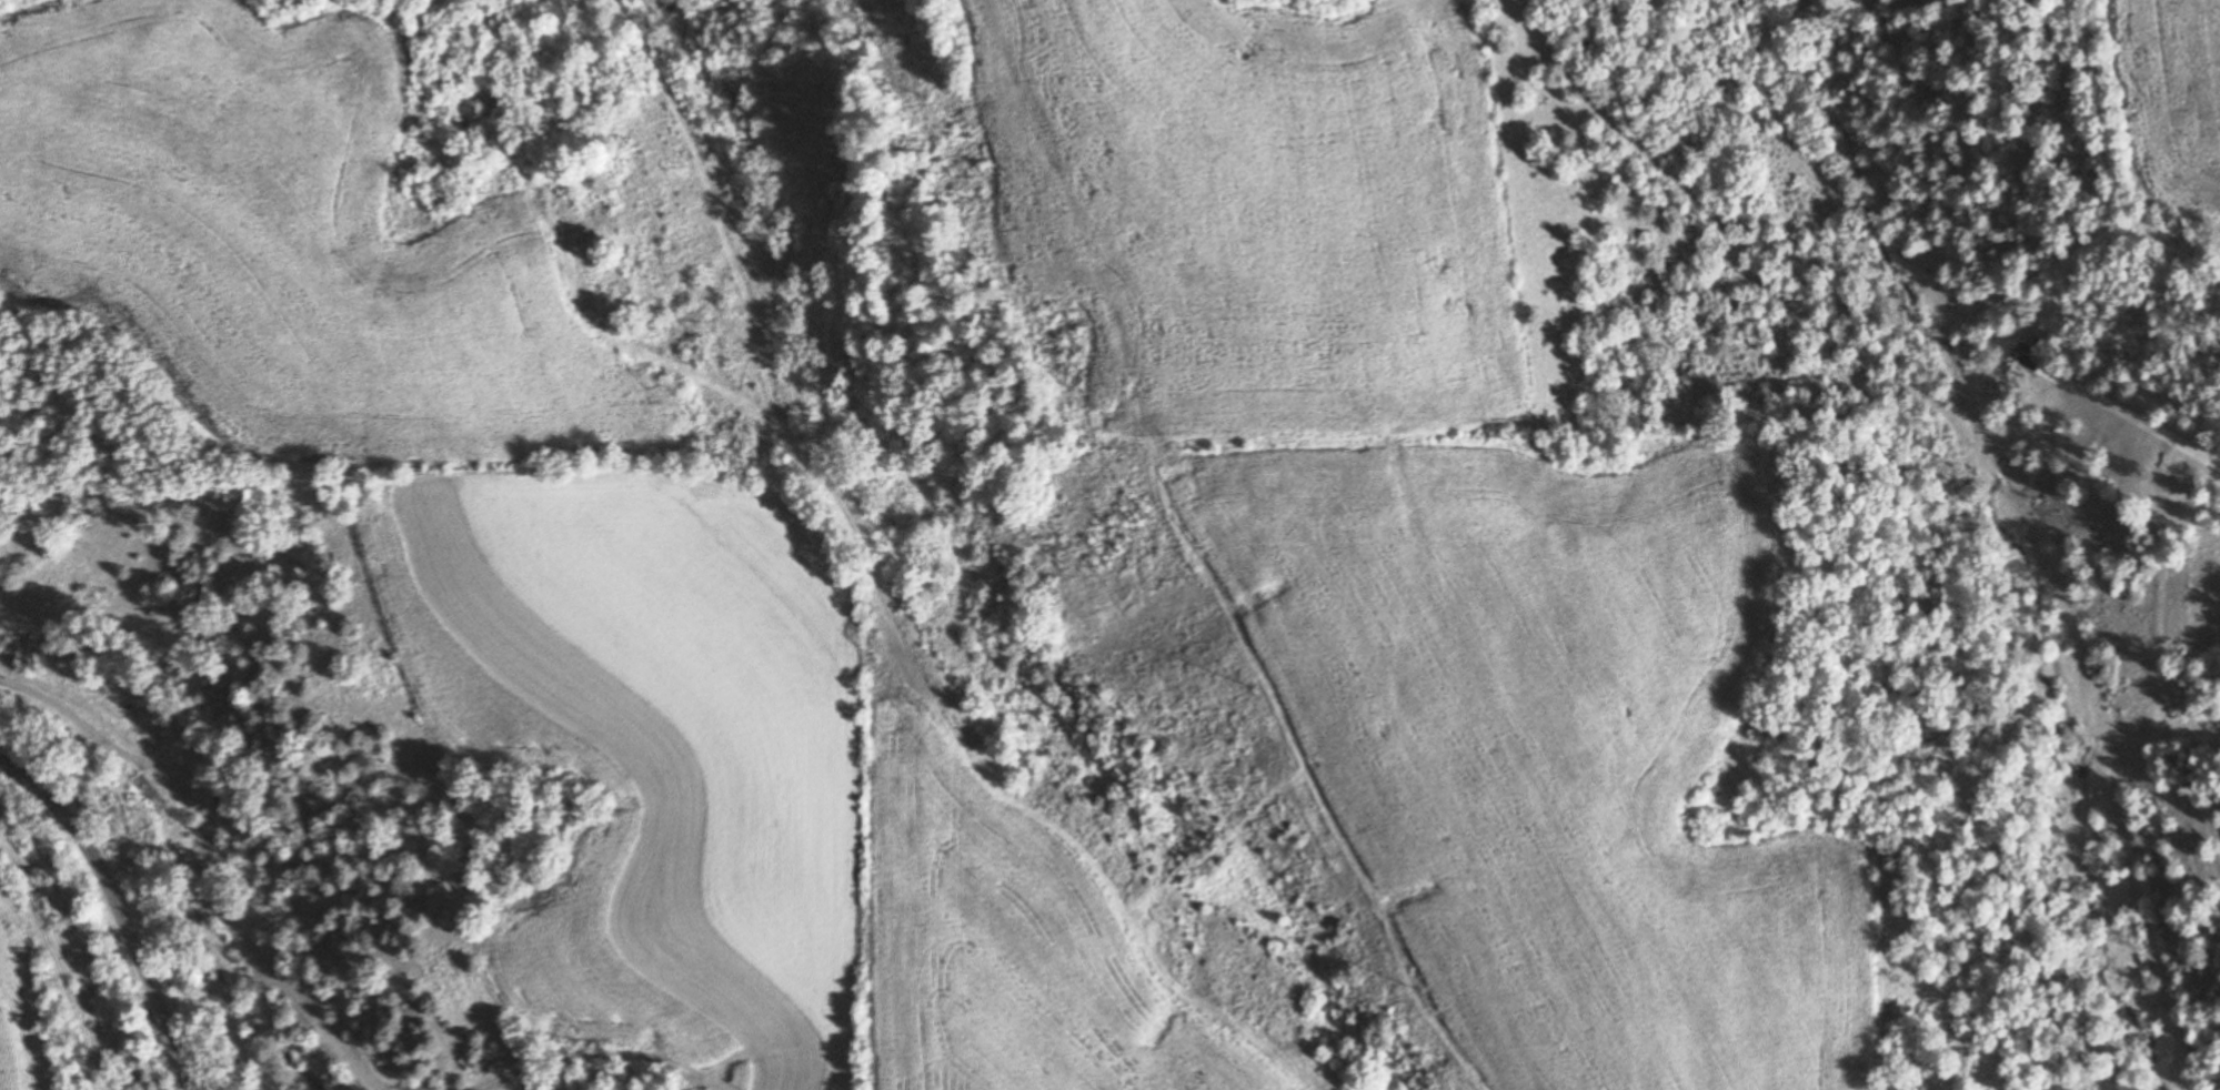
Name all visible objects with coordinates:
road: (205, 860)
road: (118, 912)
road: (573, 1061)

